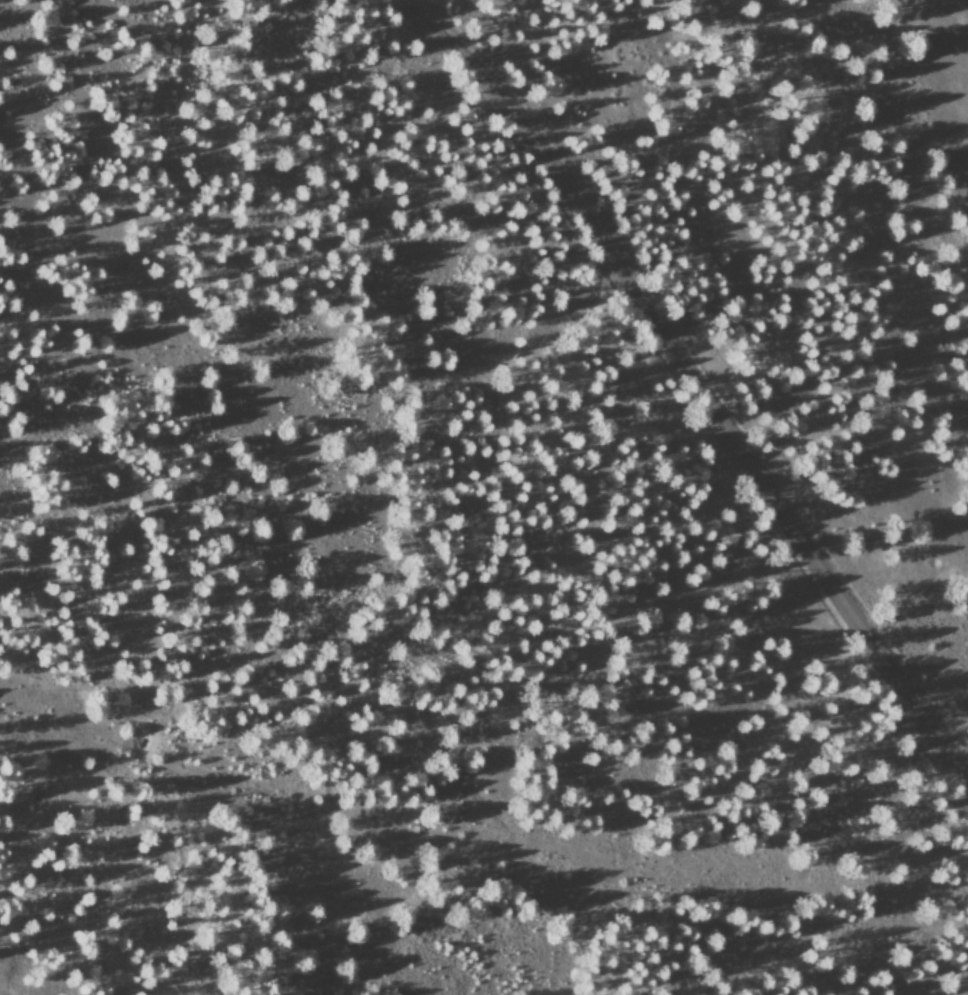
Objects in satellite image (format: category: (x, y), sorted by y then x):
road: (693, 343)

